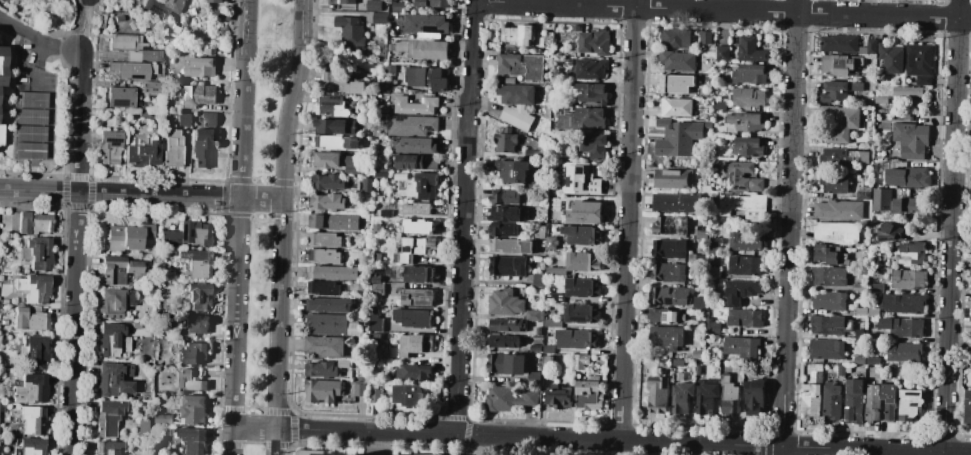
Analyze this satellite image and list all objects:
building: (4, 0)
building: (215, 1)
building: (347, 1)
building: (434, 3)
building: (373, 5)
building: (163, 6)
building: (397, 6)
road: (723, 10)
building: (220, 15)
building: (379, 18)
road: (298, 22)
road: (72, 24)
road: (85, 25)
building: (427, 25)
building: (575, 27)
road: (99, 29)
road: (245, 29)
building: (350, 31)
building: (517, 35)
building: (675, 37)
building: (705, 37)
road: (36, 38)
building: (390, 40)
building: (549, 40)
building: (594, 42)
building: (839, 43)
building: (871, 46)
building: (134, 47)
building: (424, 48)
building: (750, 49)
road: (473, 50)
building: (722, 53)
building: (891, 58)
building: (677, 60)
building: (920, 63)
building: (840, 65)
building: (521, 66)
building: (2, 67)
building: (200, 67)
building: (389, 69)
building: (590, 69)
building: (133, 70)
building: (749, 74)
building: (427, 78)
building: (705, 78)
building: (509, 80)
building: (342, 83)
building: (675, 84)
building: (150, 87)
building: (838, 90)
building: (908, 91)
building: (591, 93)
building: (198, 96)
building: (385, 96)
building: (122, 97)
road: (633, 97)
building: (748, 97)
building: (32, 99)
building: (880, 100)
building: (719, 104)
building: (415, 105)
building: (517, 105)
building: (332, 106)
building: (675, 107)
building: (383, 109)
building: (144, 114)
road: (793, 115)
building: (843, 115)
road: (956, 115)
building: (31, 116)
building: (183, 119)
building: (210, 119)
building: (583, 119)
building: (747, 121)
building: (663, 122)
building: (718, 122)
building: (685, 124)
building: (708, 124)
building: (412, 125)
building: (334, 126)
building: (31, 133)
building: (1, 134)
building: (911, 139)
building: (506, 141)
building: (676, 141)
building: (330, 142)
building: (868, 142)
building: (415, 144)
building: (593, 145)
building: (110, 146)
building: (203, 146)
building: (747, 146)
building: (173, 147)
building: (30, 150)
building: (143, 154)
building: (843, 156)
building: (331, 160)
building: (413, 162)
building: (512, 170)
building: (358, 171)
building: (382, 176)
building: (736, 176)
building: (400, 177)
building: (907, 177)
building: (675, 178)
building: (578, 179)
building: (329, 182)
building: (834, 182)
building: (367, 185)
building: (427, 185)
building: (756, 185)
building: (864, 193)
road: (140, 194)
building: (504, 197)
building: (881, 199)
building: (331, 202)
building: (679, 202)
building: (912, 205)
building: (743, 206)
building: (896, 206)
building: (417, 208)
building: (838, 210)
building: (386, 212)
building: (586, 212)
building: (508, 214)
building: (34, 222)
building: (335, 222)
building: (671, 225)
building: (418, 226)
building: (377, 227)
building: (503, 229)
building: (149, 231)
building: (891, 231)
building: (540, 232)
building: (836, 233)
building: (188, 234)
building: (581, 235)
building: (701, 235)
building: (125, 238)
building: (330, 239)
building: (746, 241)
building: (553, 242)
building: (513, 246)
road: (280, 248)
building: (669, 248)
building: (414, 249)
building: (714, 249)
road: (76, 252)
building: (37, 253)
building: (912, 253)
building: (829, 254)
building: (357, 255)
road: (237, 256)
building: (325, 256)
building: (378, 257)
building: (695, 259)
building: (582, 261)
building: (970, 261)
building: (192, 264)
building: (745, 265)
building: (508, 266)
road: (461, 267)
building: (970, 268)
building: (118, 269)
building: (556, 271)
building: (332, 272)
building: (668, 272)
building: (713, 272)
building: (419, 274)
building: (829, 276)
building: (908, 279)
building: (538, 280)
building: (323, 287)
building: (364, 287)
building: (581, 287)
building: (859, 287)
building: (875, 287)
building: (35, 288)
building: (384, 290)
building: (741, 291)
building: (669, 295)
building: (195, 296)
building: (417, 297)
building: (554, 297)
building: (828, 300)
building: (5, 301)
building: (115, 302)
building: (506, 302)
building: (700, 303)
building: (903, 303)
building: (329, 305)
building: (860, 311)
building: (873, 312)
building: (580, 313)
building: (134, 315)
building: (162, 315)
building: (534, 315)
building: (970, 316)
building: (413, 317)
road: (624, 317)
building: (664, 317)
building: (31, 318)
building: (744, 318)
building: (375, 321)
building: (553, 323)
building: (830, 324)
building: (127, 325)
building: (137, 325)
building: (331, 325)
building: (507, 325)
building: (193, 327)
building: (711, 327)
building: (902, 327)
building: (859, 331)
building: (538, 332)
building: (970, 334)
building: (666, 337)
road: (784, 338)
building: (580, 339)
building: (113, 340)
building: (504, 341)
road: (948, 342)
building: (133, 345)
building: (415, 345)
building: (324, 346)
building: (741, 346)
building: (535, 348)
building: (548, 348)
building: (558, 349)
building: (827, 349)
building: (35, 351)
building: (394, 351)
building: (904, 351)
building: (6, 352)
building: (193, 353)
building: (697, 353)
building: (970, 357)
building: (549, 360)
building: (859, 360)
building: (873, 360)
building: (580, 361)
building: (343, 363)
building: (506, 363)
building: (664, 363)
building: (129, 368)
building: (323, 369)
building: (842, 369)
building: (697, 370)
building: (816, 371)
building: (413, 372)
building: (534, 377)
building: (112, 379)
building: (189, 381)
building: (876, 381)
building: (901, 382)
building: (32, 388)
building: (359, 388)
building: (323, 391)
building: (589, 394)
building: (657, 394)
building: (408, 395)
building: (706, 395)
building: (729, 396)
building: (754, 396)
building: (375, 397)
building: (559, 397)
building: (682, 397)
building: (509, 398)
building: (832, 400)
building: (889, 400)
building: (810, 401)
building: (853, 402)
building: (909, 404)
building: (967, 406)
building: (871, 407)
building: (194, 410)
building: (109, 416)
building: (163, 418)
building: (32, 420)
building: (144, 427)
road: (364, 430)
building: (170, 432)
building: (193, 440)
road: (638, 440)
road: (477, 444)
building: (31, 445)
building: (110, 447)
road: (875, 449)
road: (779, 450)
building: (310, 452)
park: (496, 454)

